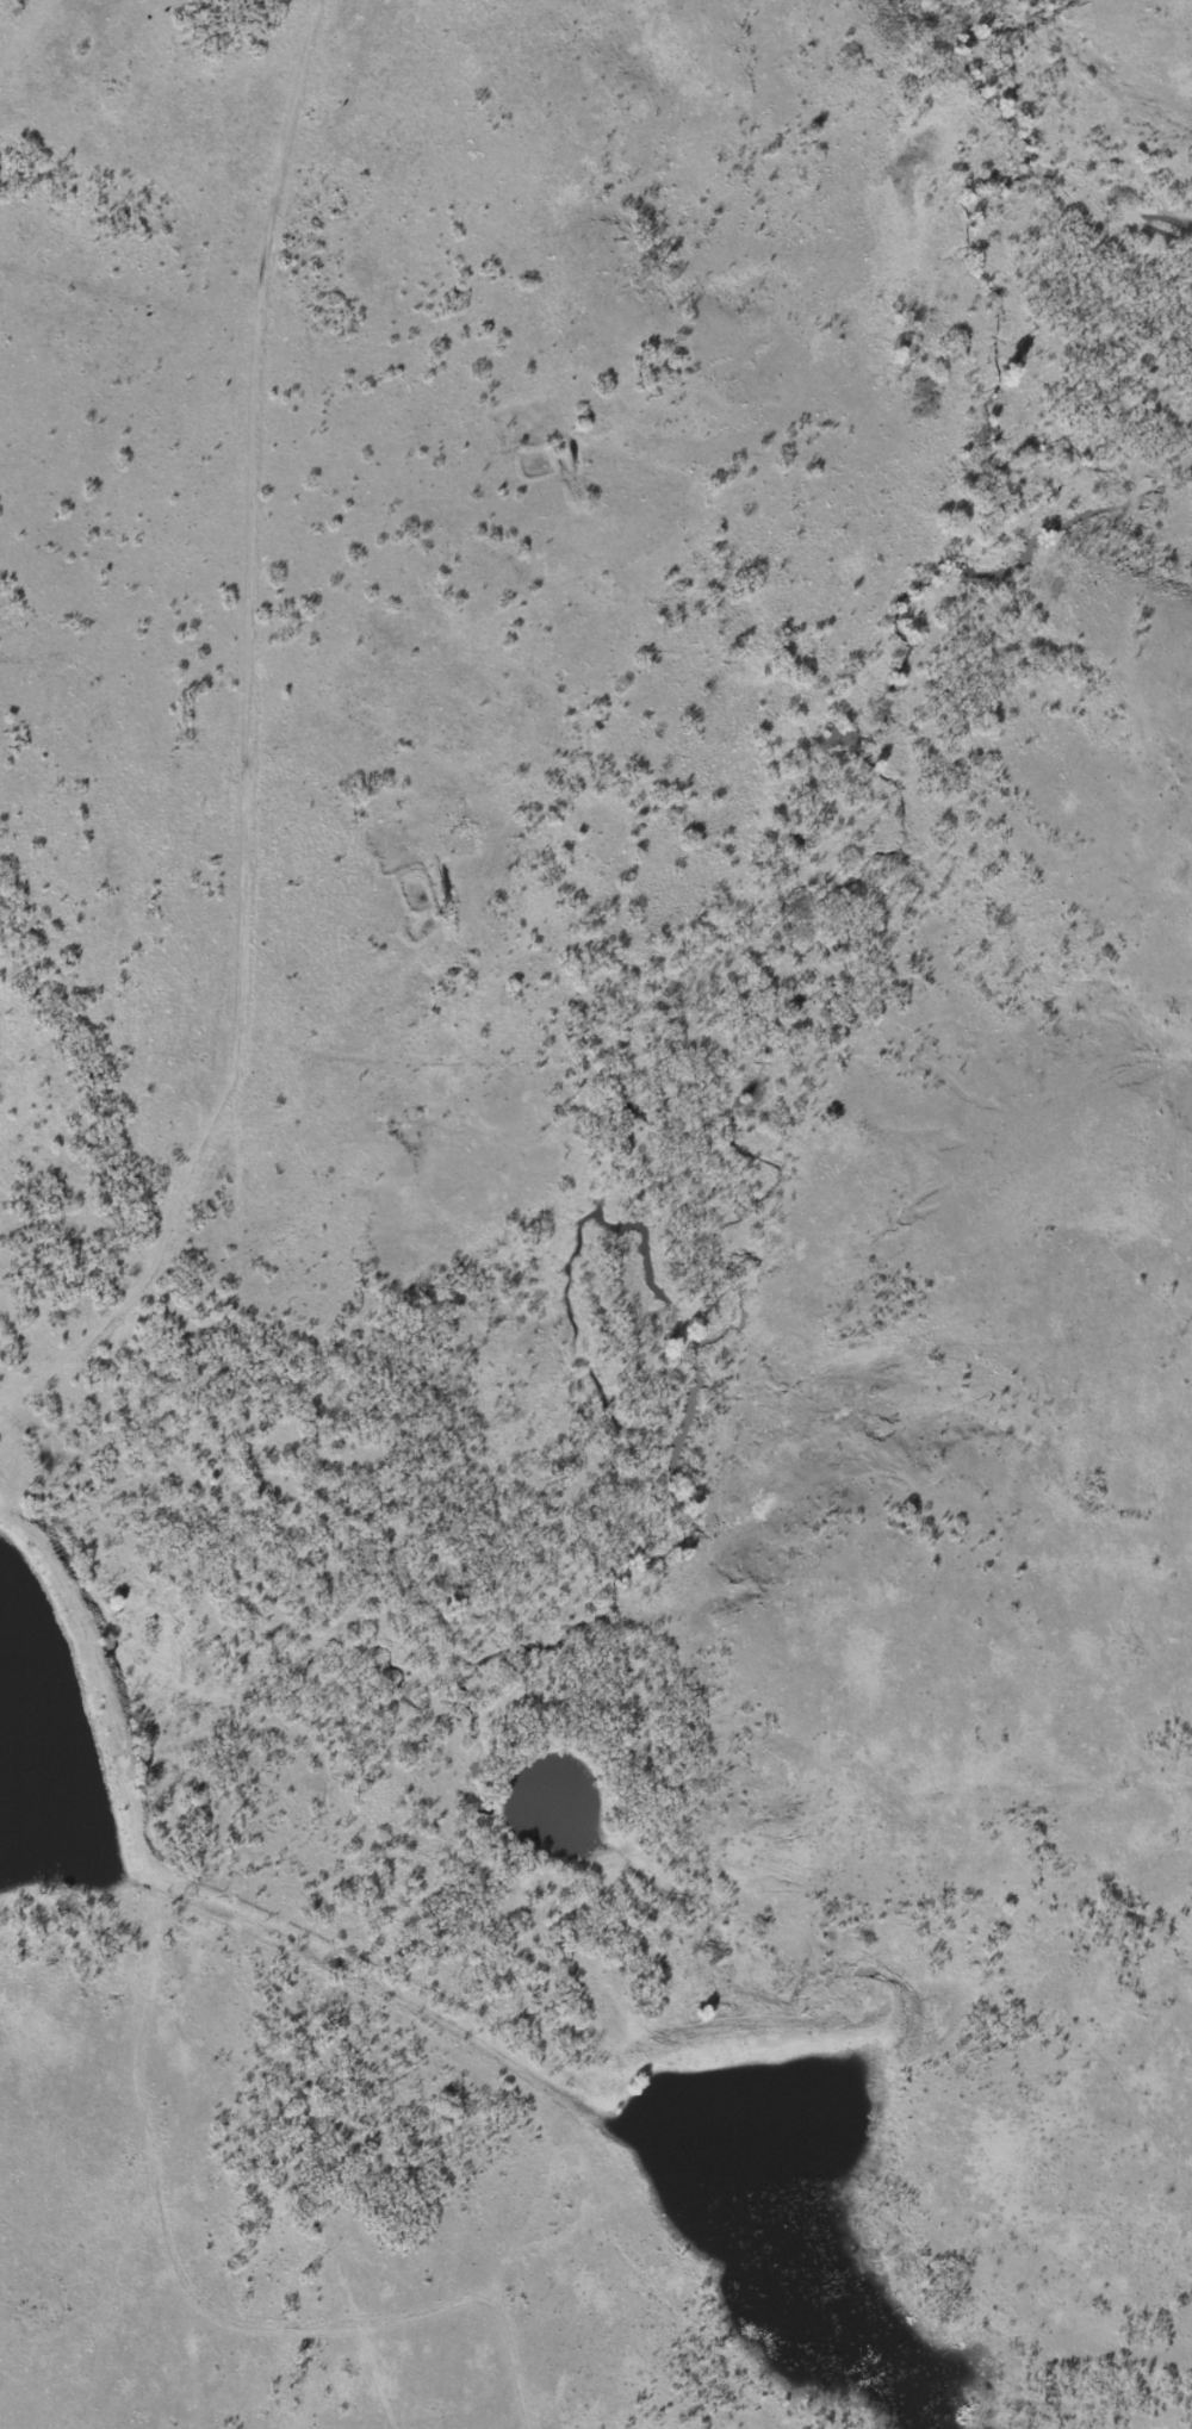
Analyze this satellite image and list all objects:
road: (110, 640)
road: (125, 1417)
road: (354, 2212)

